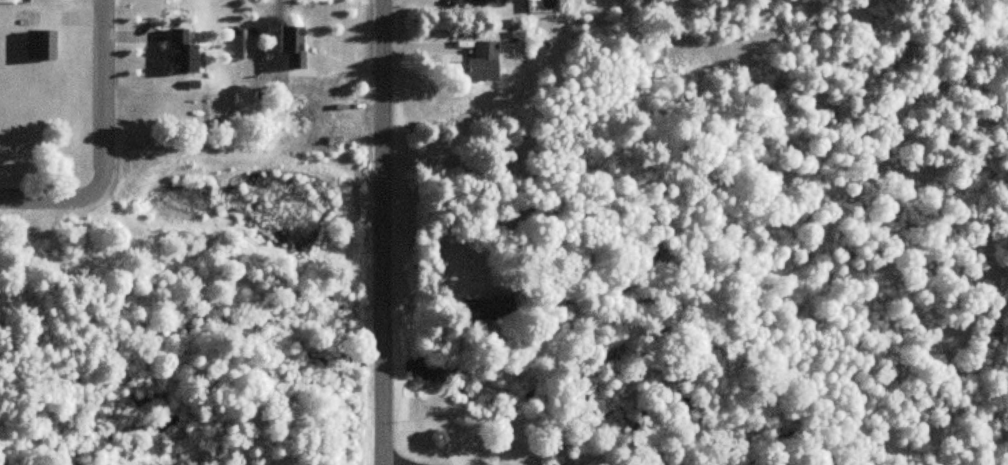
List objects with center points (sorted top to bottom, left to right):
building: (481, 3)
building: (38, 44)
building: (290, 45)
building: (181, 50)
building: (481, 60)
road: (104, 145)
road: (382, 232)
building: (486, 308)

